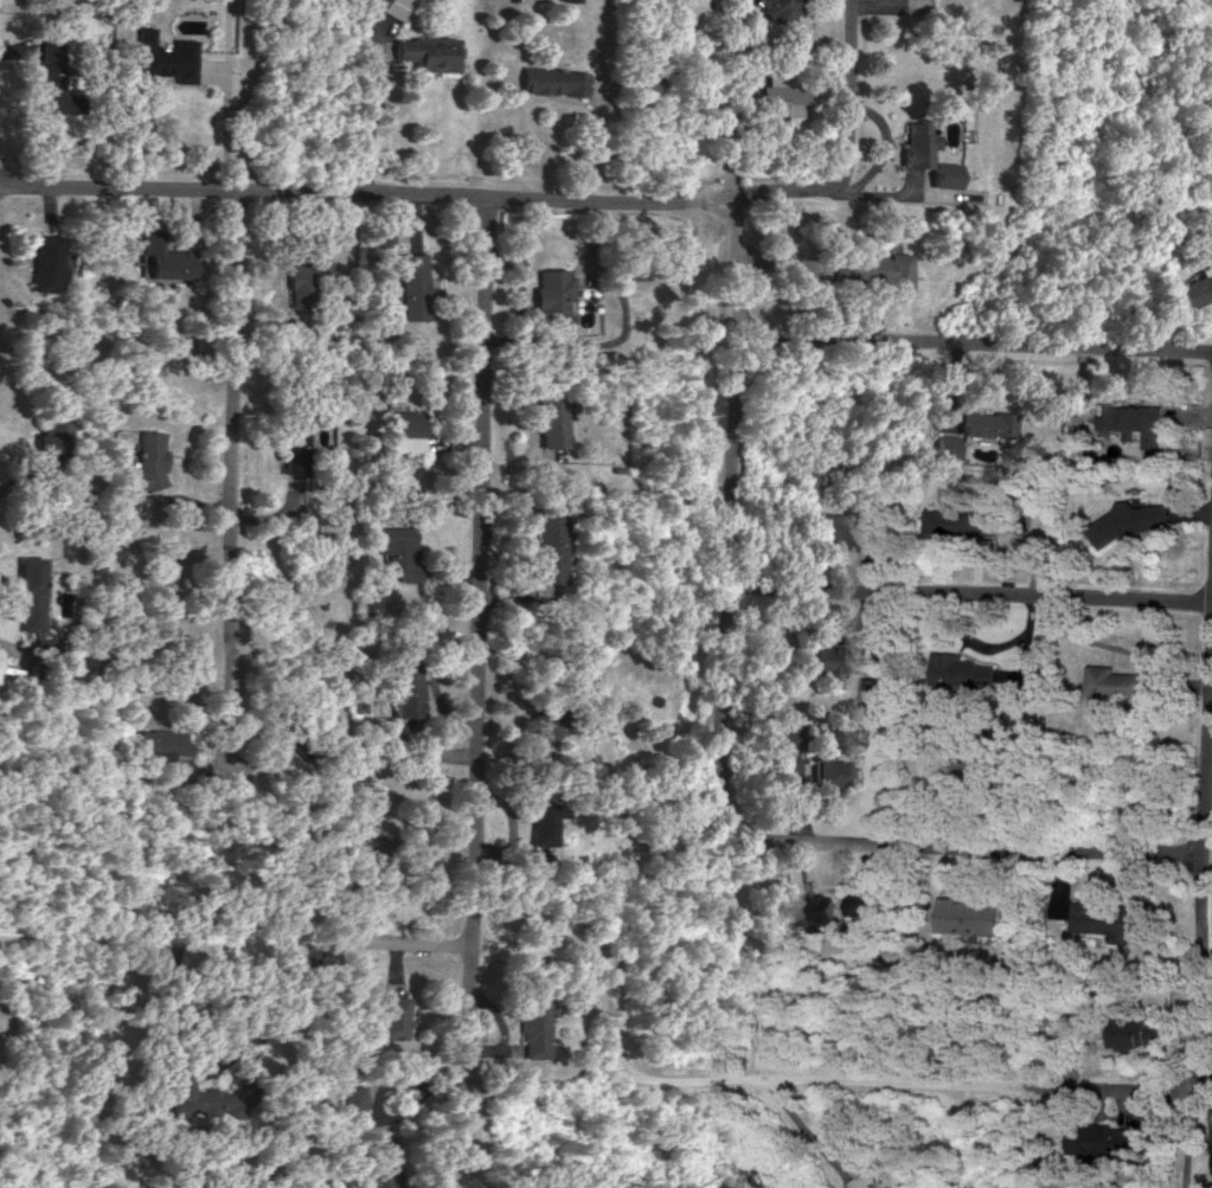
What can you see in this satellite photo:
building: (399, 7)
building: (777, 9)
building: (430, 51)
building: (168, 56)
building: (54, 79)
building: (552, 79)
building: (784, 103)
road: (372, 110)
road: (229, 116)
building: (917, 142)
road: (844, 148)
building: (943, 173)
road: (361, 191)
building: (383, 231)
building: (161, 256)
building: (44, 261)
building: (868, 264)
building: (626, 268)
building: (303, 277)
building: (413, 284)
building: (1198, 287)
building: (551, 295)
road: (980, 348)
building: (544, 419)
building: (1137, 420)
building: (992, 422)
building: (406, 429)
building: (50, 435)
building: (295, 444)
building: (950, 447)
building: (146, 461)
road: (227, 493)
road: (735, 514)
building: (1135, 519)
building: (963, 520)
building: (844, 528)
building: (547, 544)
building: (399, 548)
building: (30, 591)
road: (971, 592)
building: (370, 606)
building: (835, 656)
building: (966, 669)
road: (25, 672)
building: (1121, 681)
building: (405, 687)
building: (874, 688)
road: (473, 691)
building: (543, 712)
building: (309, 730)
building: (789, 736)
building: (160, 739)
building: (835, 772)
building: (543, 820)
road: (967, 843)
building: (376, 879)
road: (1205, 898)
building: (861, 903)
building: (822, 907)
building: (974, 914)
building: (1110, 919)
building: (732, 933)
building: (1037, 975)
road: (615, 989)
building: (395, 1015)
building: (534, 1027)
building: (1139, 1032)
road: (230, 1053)
road: (381, 1087)
road: (1205, 1094)
building: (211, 1096)
building: (354, 1097)
building: (1107, 1141)
building: (127, 1154)
building: (381, 1163)

